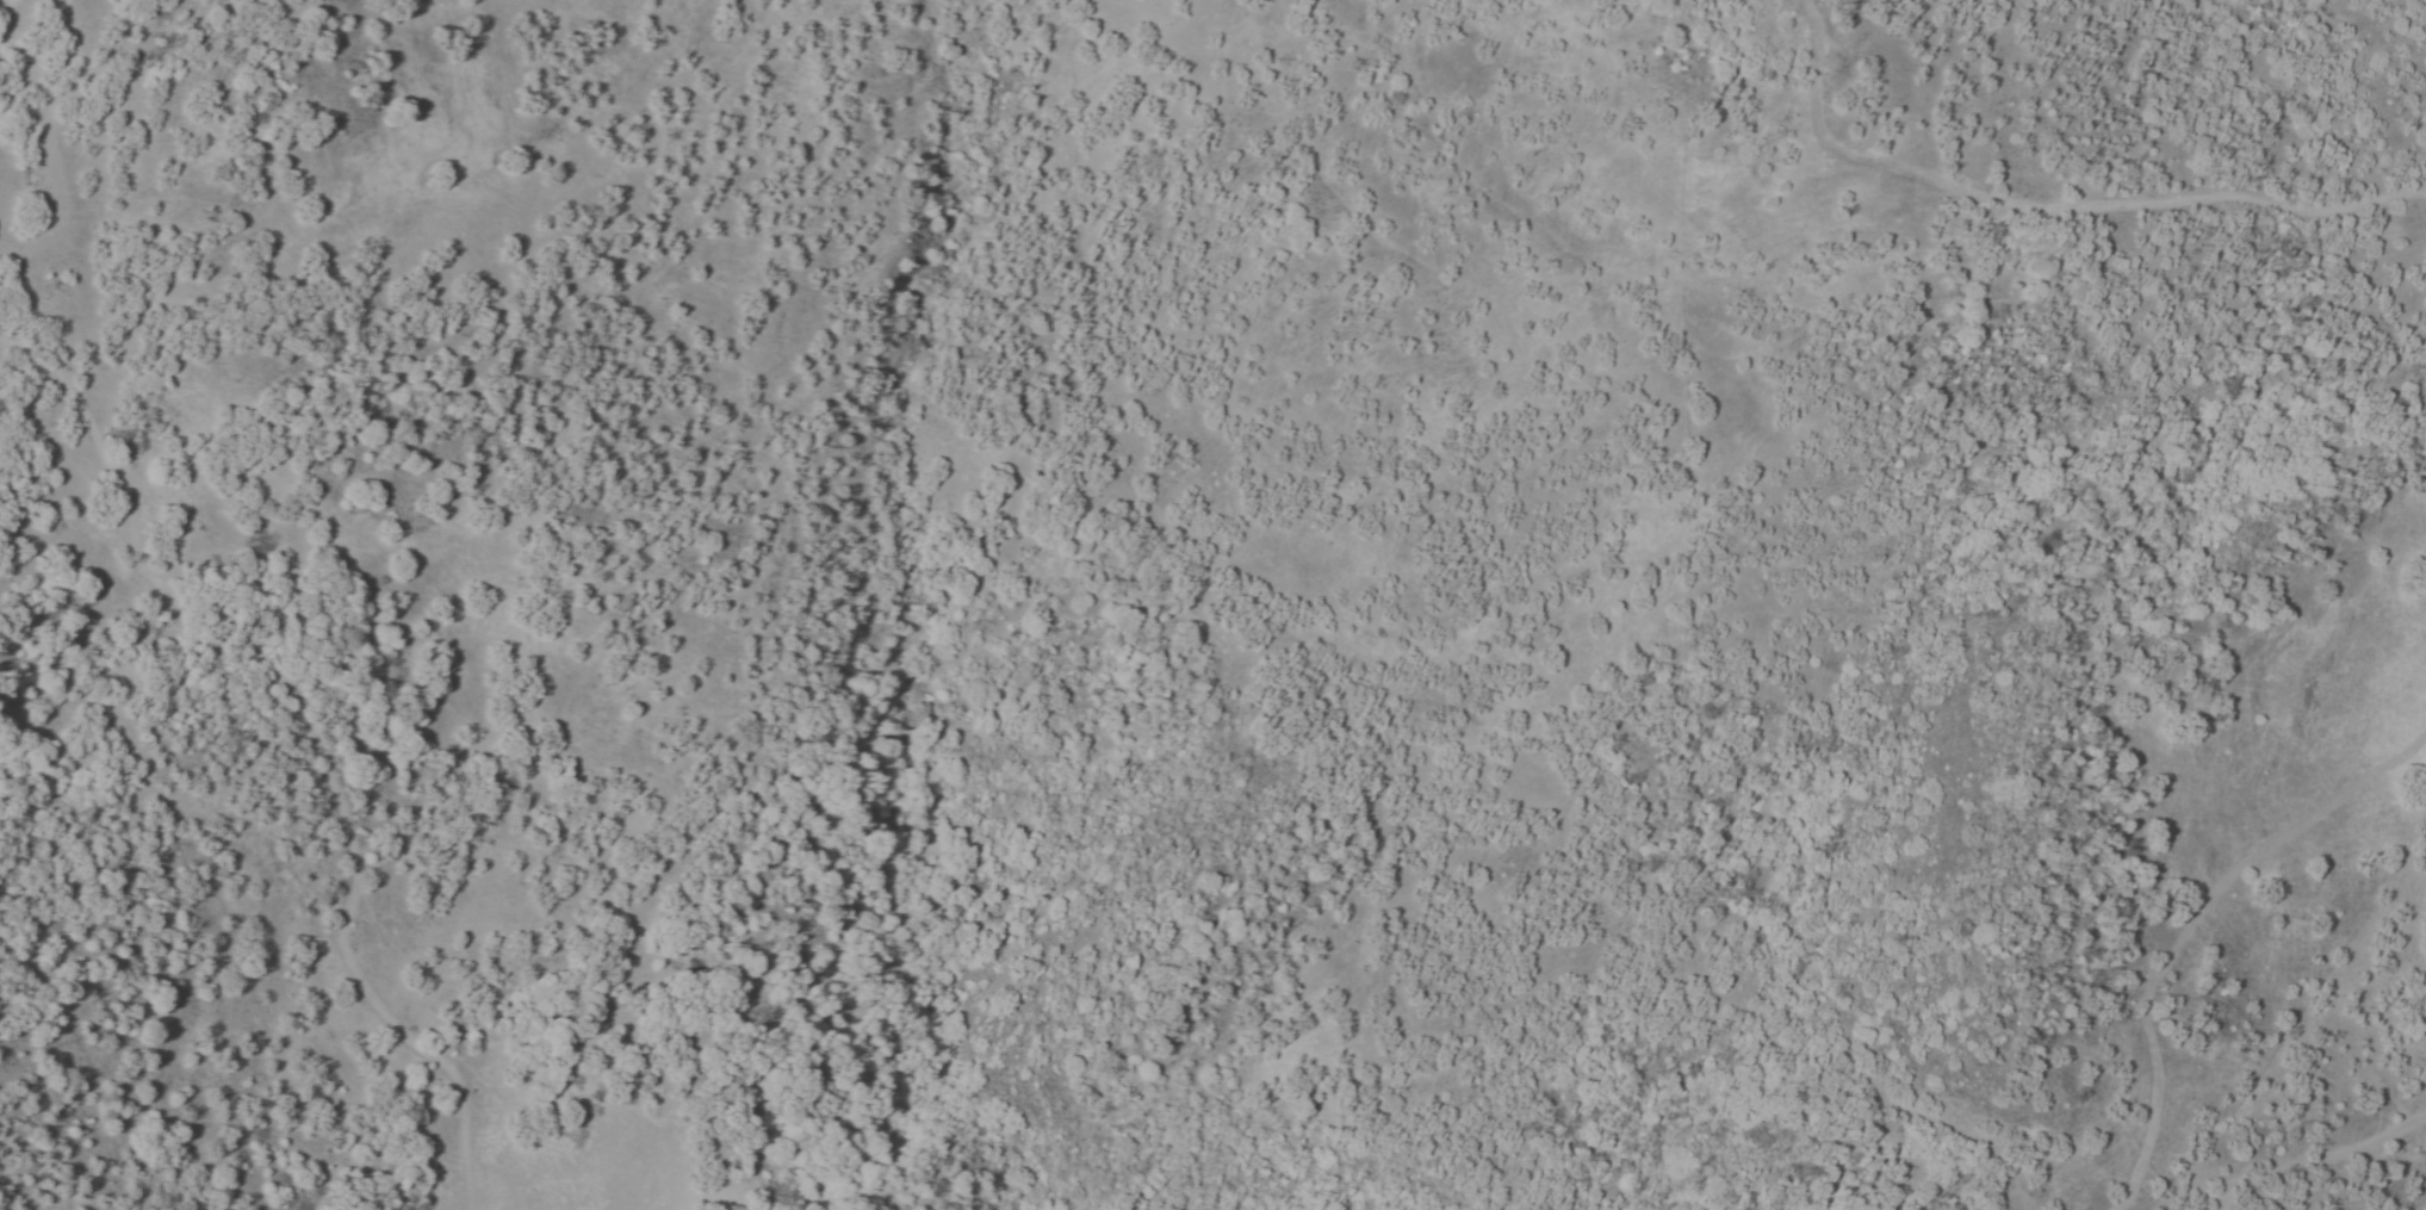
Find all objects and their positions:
road: (2048, 205)
road: (2188, 930)
road: (2316, 1159)

